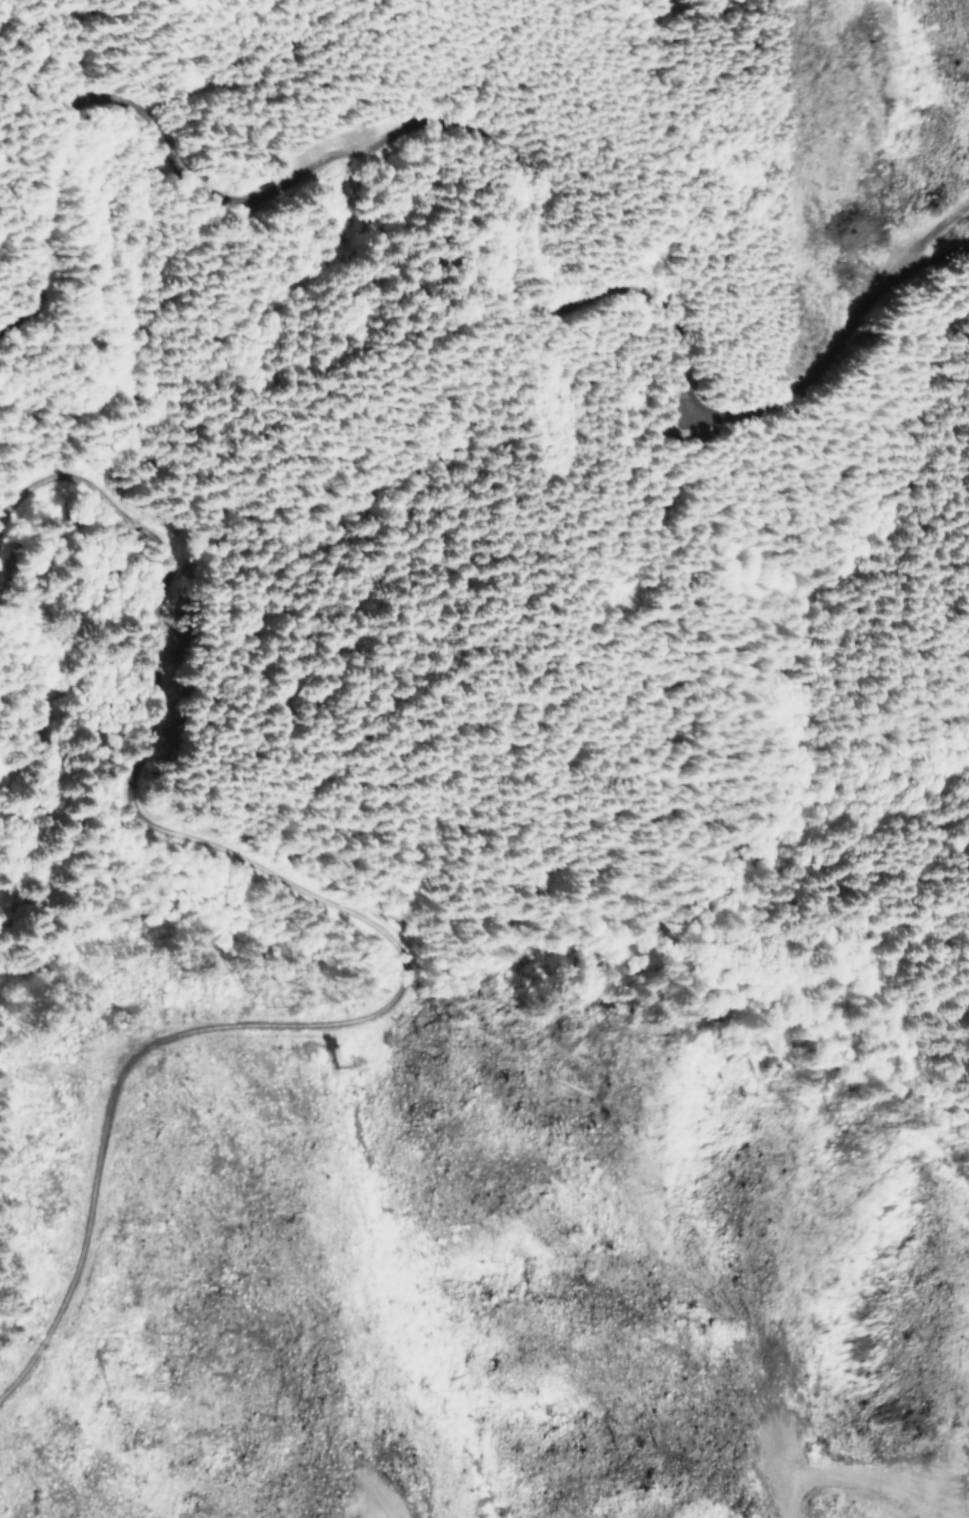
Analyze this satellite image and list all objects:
road: (496, 300)
road: (270, 922)
road: (750, 1389)

